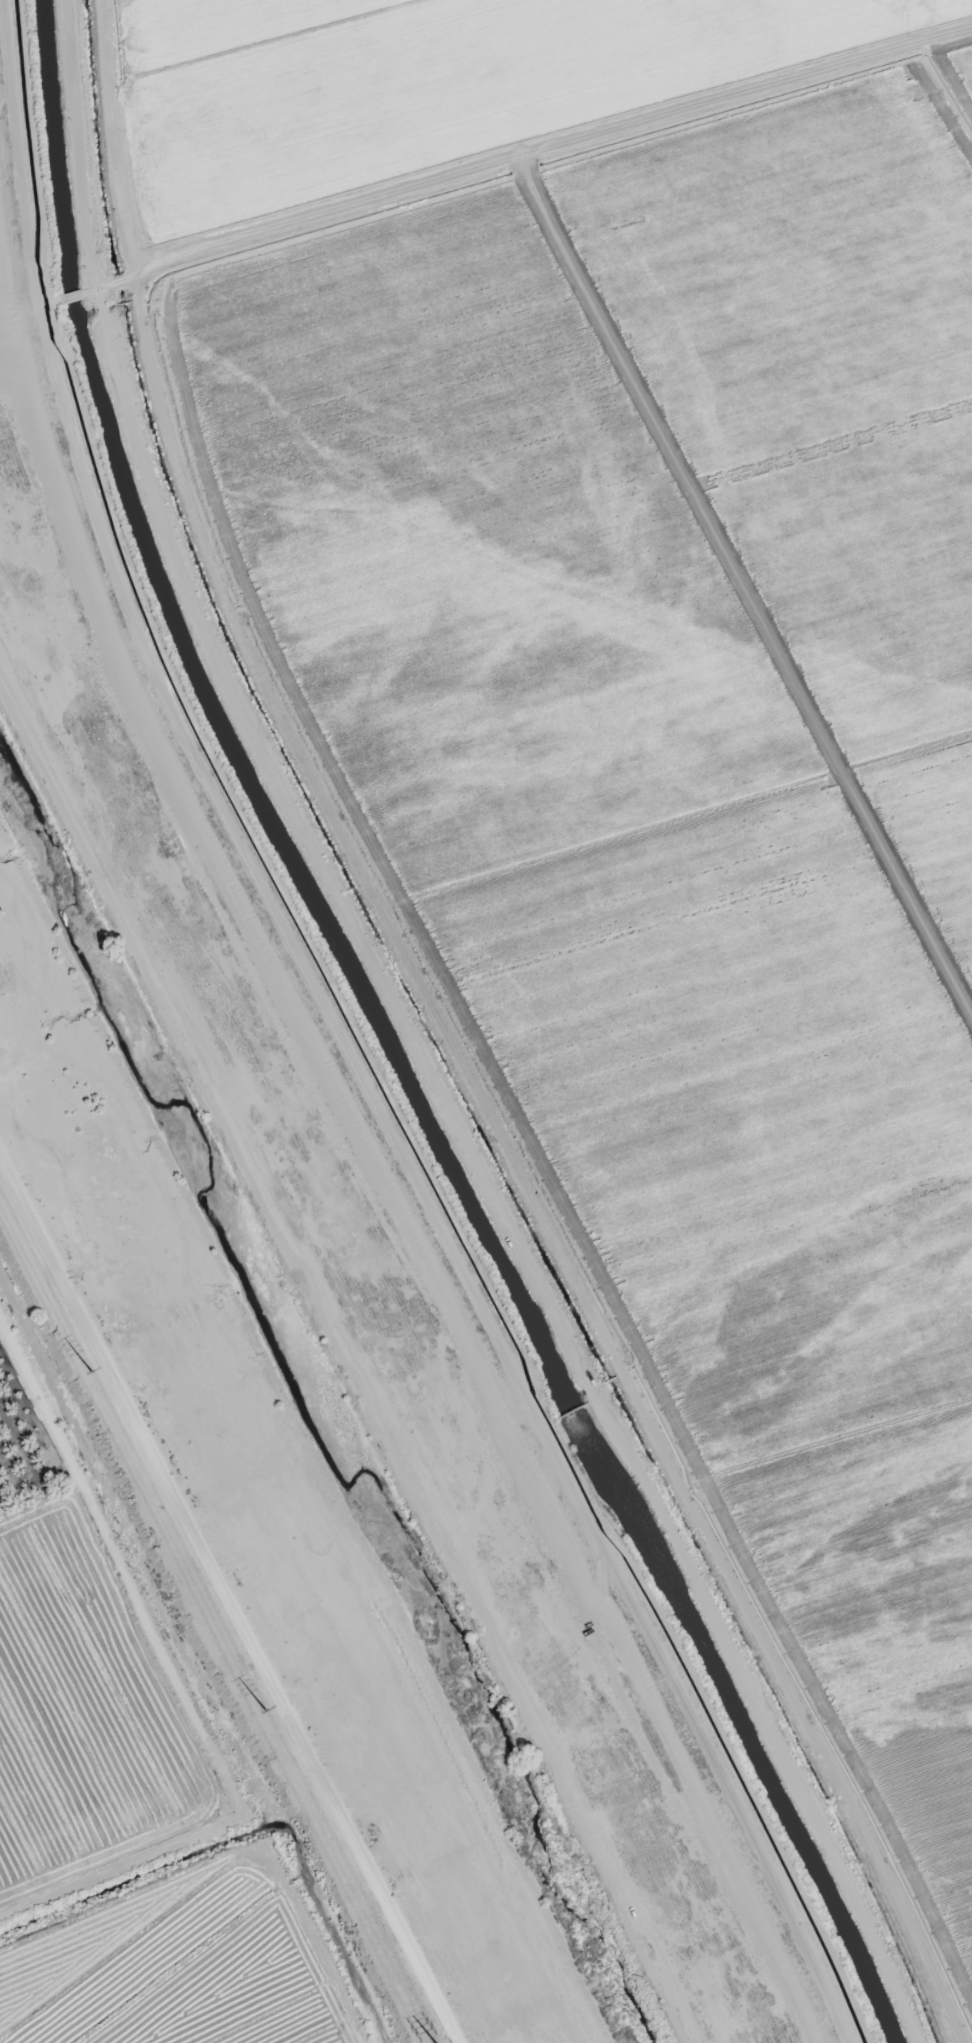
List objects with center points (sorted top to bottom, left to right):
power tower: (83, 1371)
river: (323, 1402)
power tower: (259, 1710)

